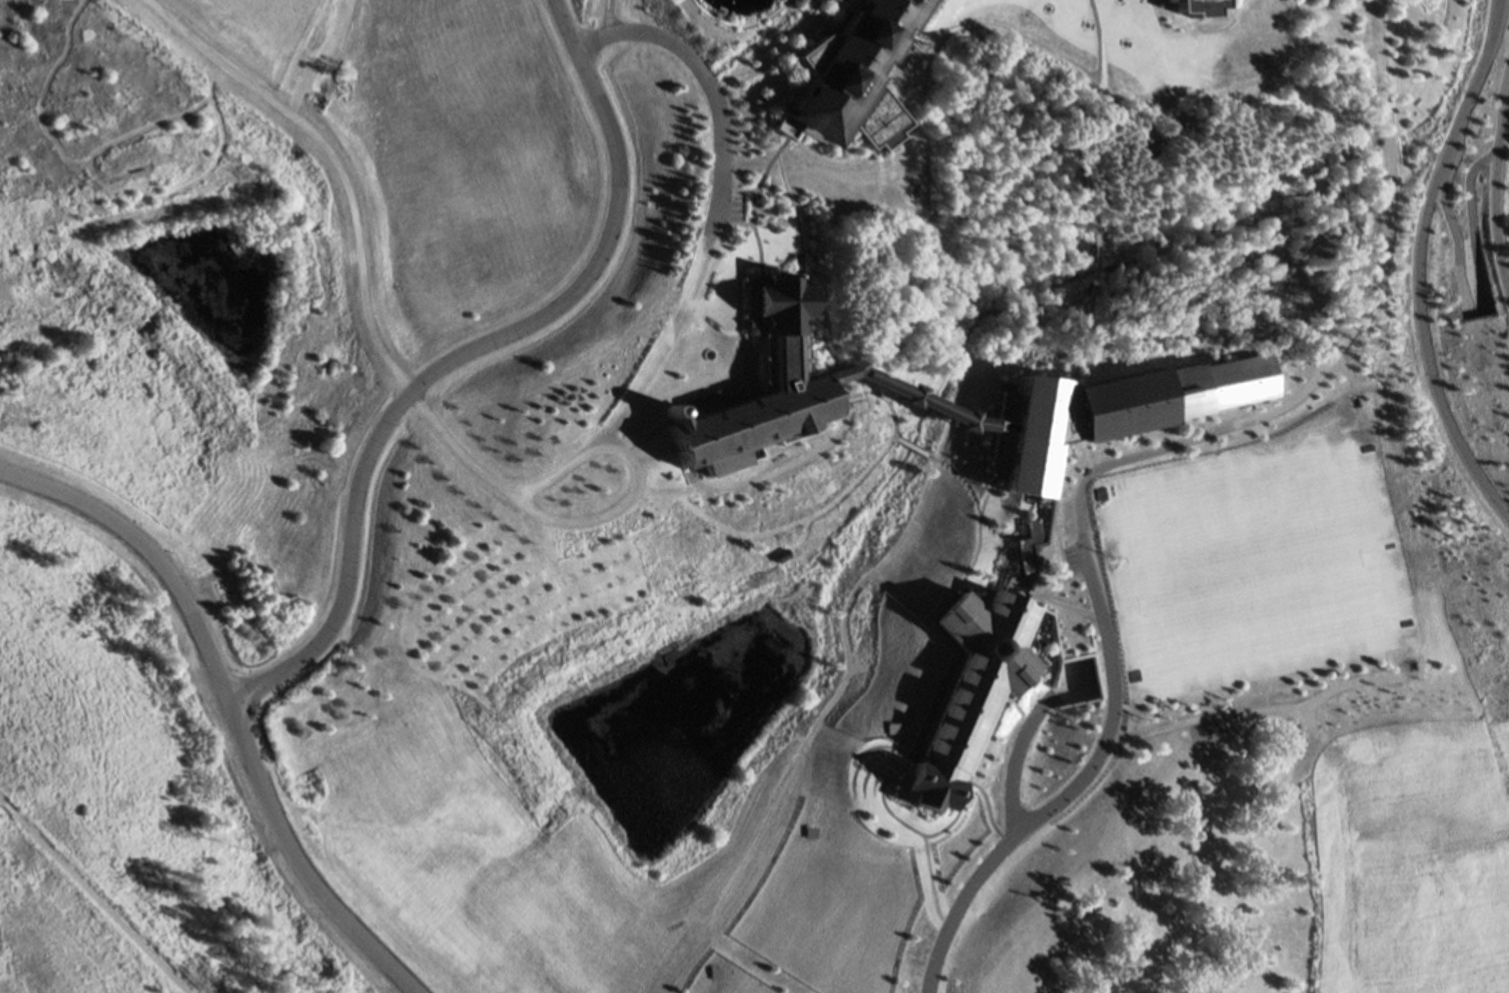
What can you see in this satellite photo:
road: (838, 5)
building: (1194, 5)
park: (737, 6)
road: (1188, 7)
road: (1203, 11)
road: (605, 17)
road: (1223, 27)
building: (843, 72)
road: (706, 77)
road: (1089, 84)
building: (1134, 138)
road: (828, 156)
road: (332, 159)
road: (1494, 189)
road: (1084, 200)
road: (1446, 208)
road: (790, 211)
road: (1471, 227)
road: (757, 259)
road: (1082, 262)
road: (1416, 265)
road: (1070, 333)
road: (1148, 334)
road: (460, 353)
building: (781, 372)
building: (902, 392)
road: (877, 393)
building: (1107, 406)
road: (647, 433)
road: (829, 434)
road: (913, 442)
road: (926, 448)
road: (1077, 455)
road: (1107, 459)
road: (948, 465)
road: (599, 505)
road: (974, 524)
road: (1043, 525)
park: (1249, 564)
building: (1063, 567)
road: (1057, 568)
road: (1064, 602)
road: (935, 638)
building: (960, 686)
road: (1260, 706)
road: (227, 707)
road: (863, 746)
park: (143, 753)
road: (1015, 764)
road: (953, 816)
crop: (1415, 866)
road: (91, 898)

